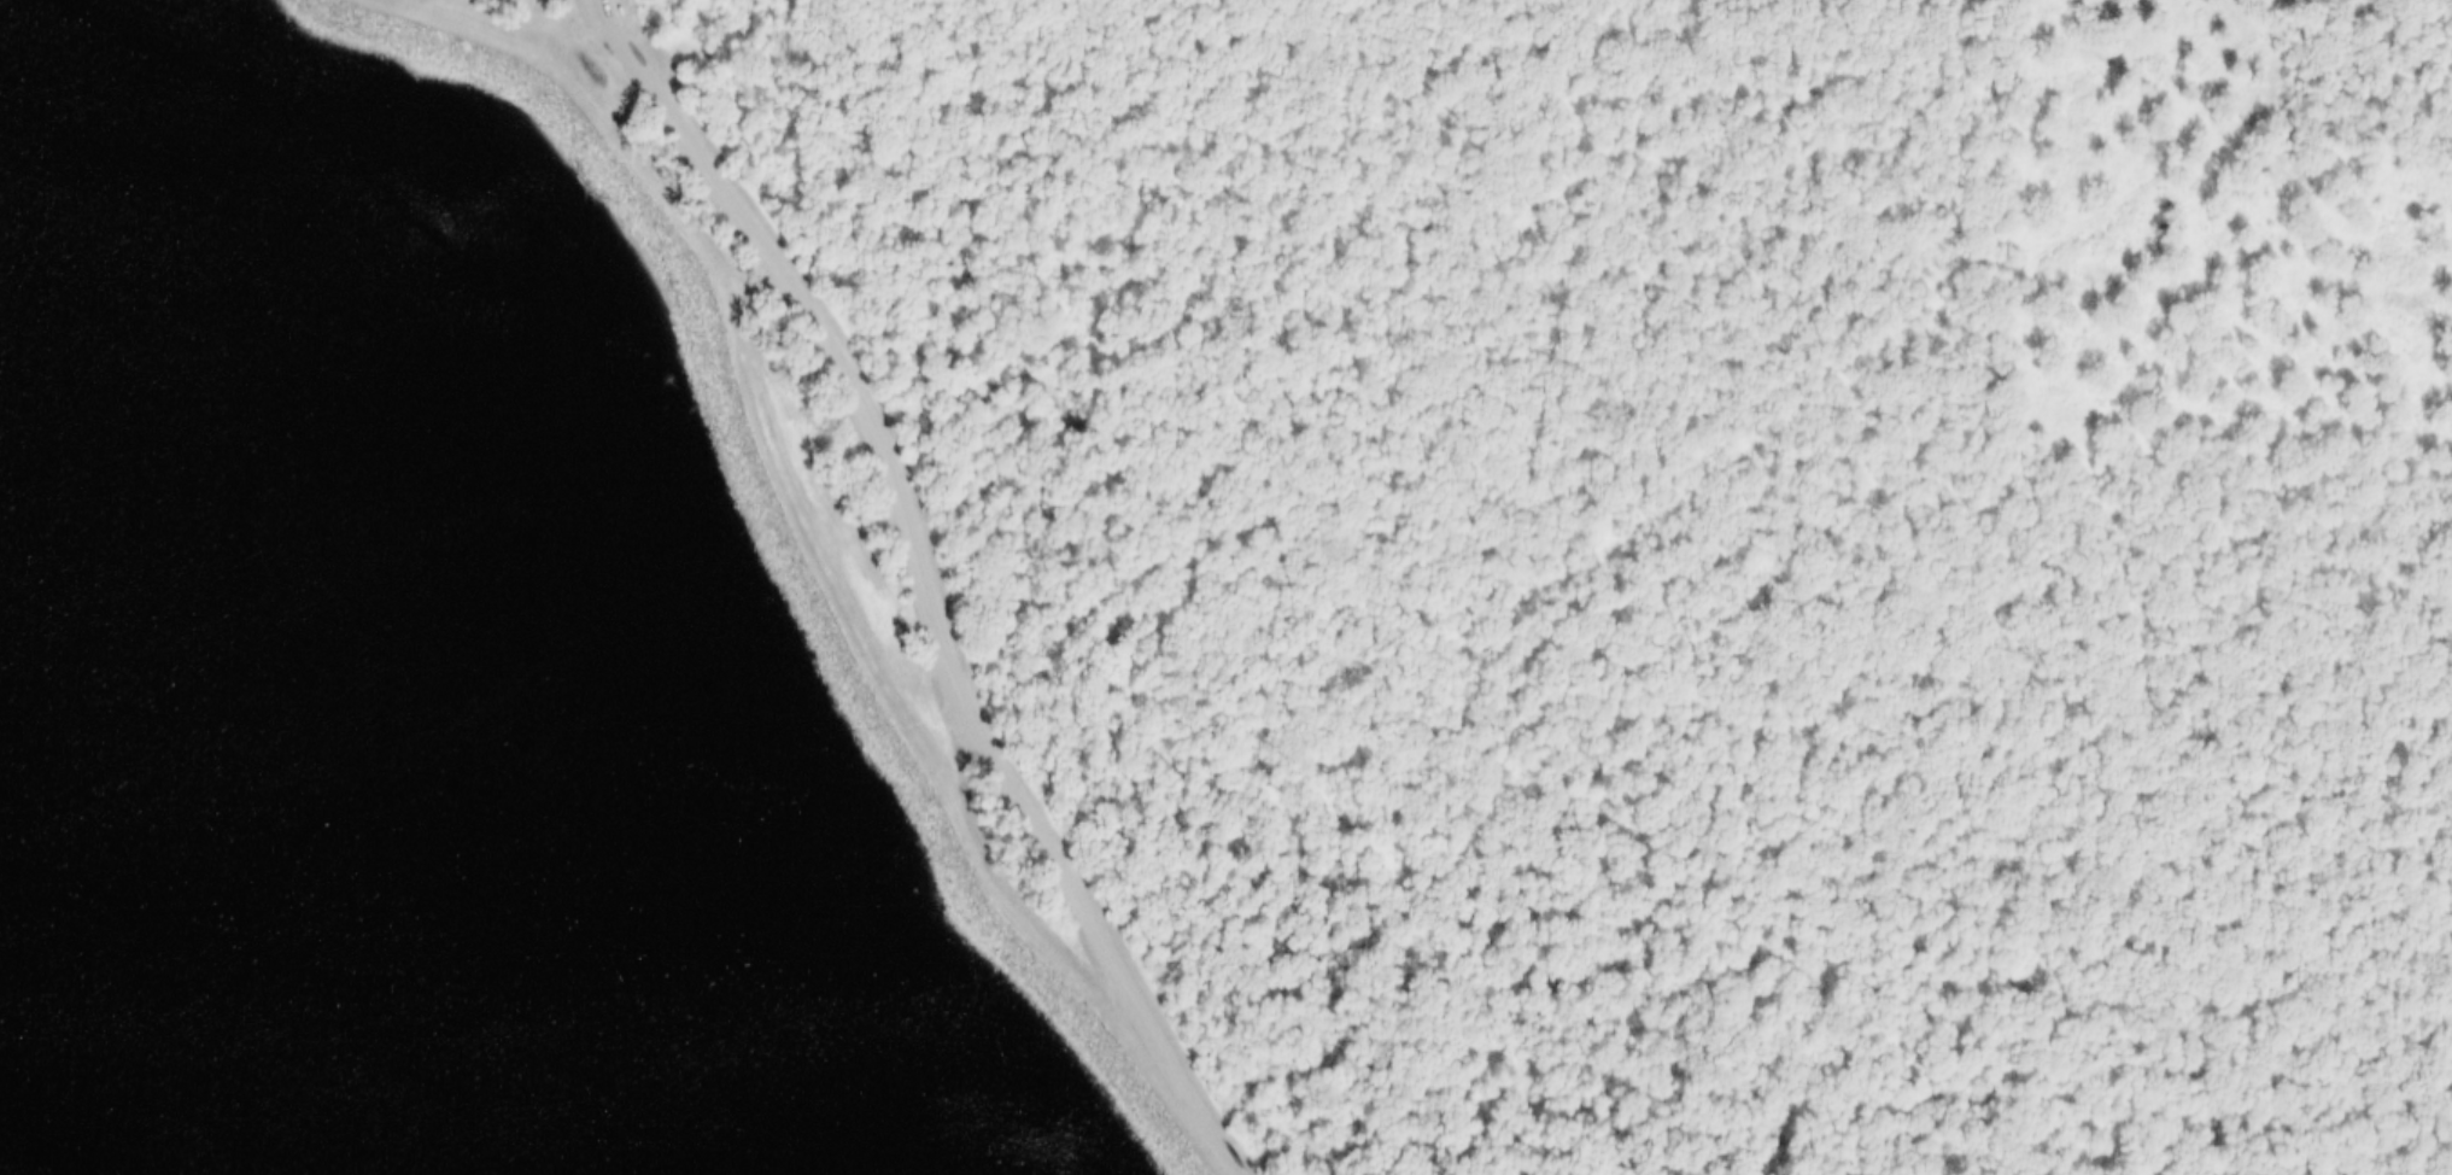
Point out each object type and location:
road: (925, 581)

